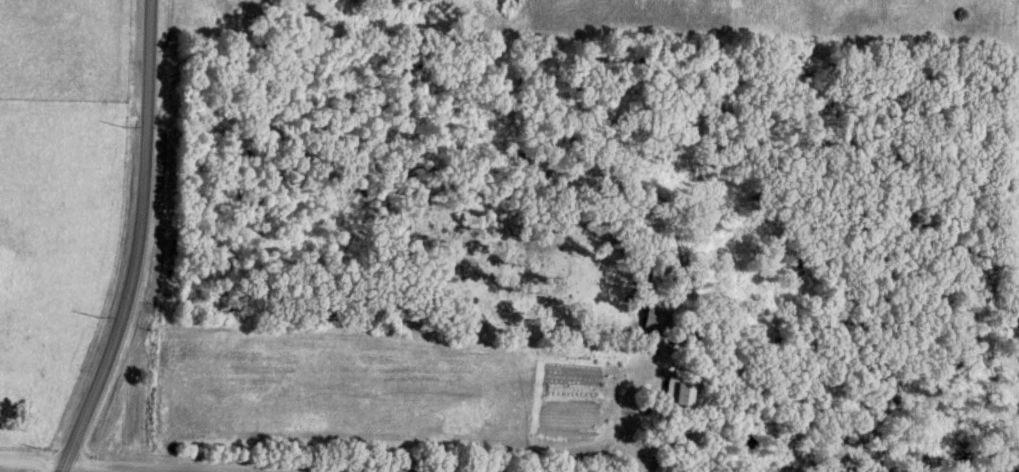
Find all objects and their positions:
road: (141, 243)
building: (653, 312)
building: (675, 389)
road: (88, 461)
road: (278, 468)
road: (177, 469)
road: (258, 470)

